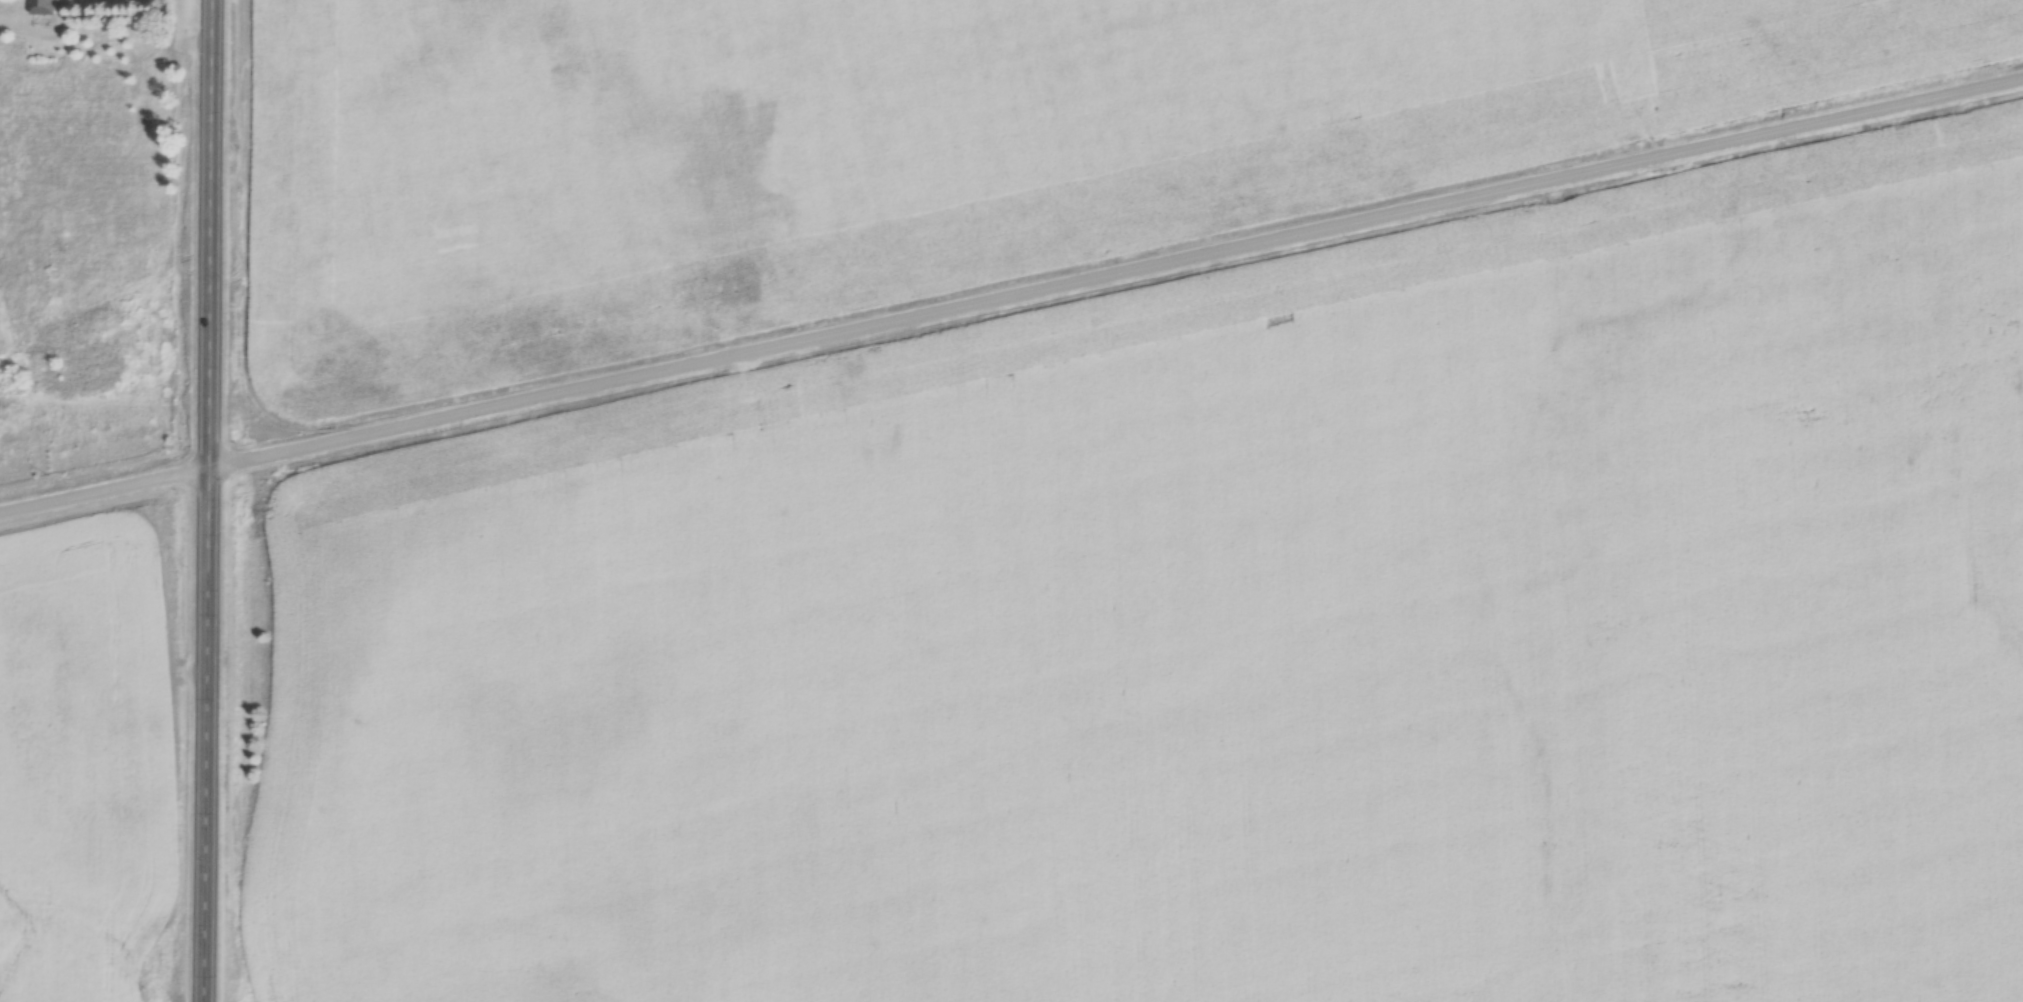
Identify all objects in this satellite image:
building: (42, 7)
road: (1011, 300)
road: (207, 500)

